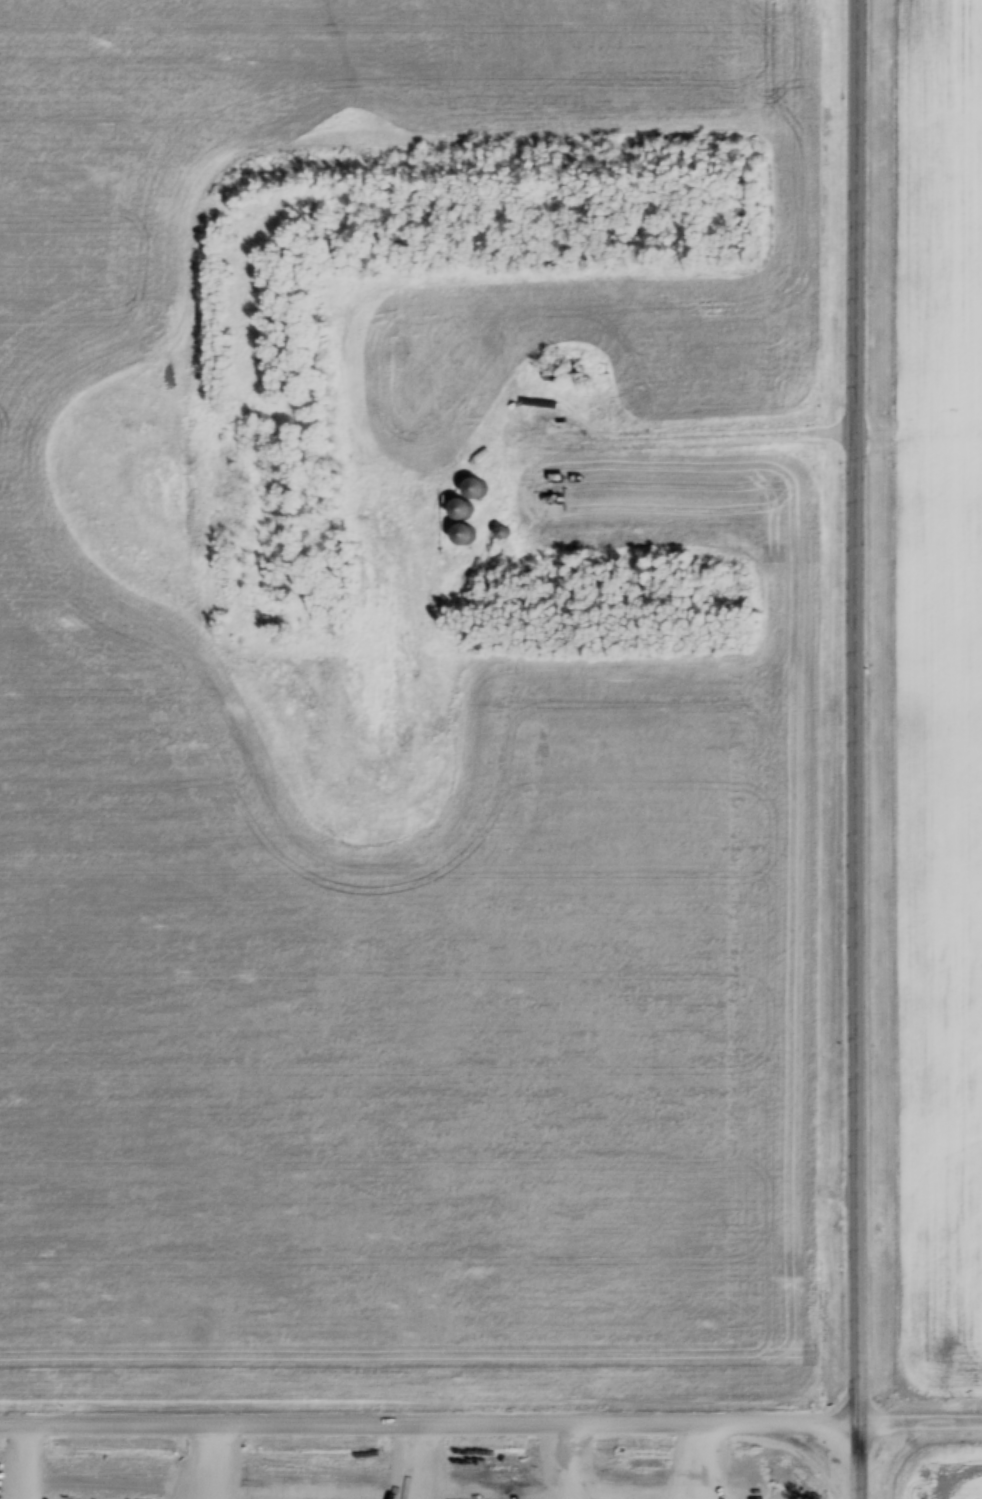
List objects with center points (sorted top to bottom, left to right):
building: (565, 373)
road: (738, 433)
building: (472, 490)
building: (458, 512)
building: (499, 534)
building: (460, 535)
road: (899, 749)
road: (491, 1423)

